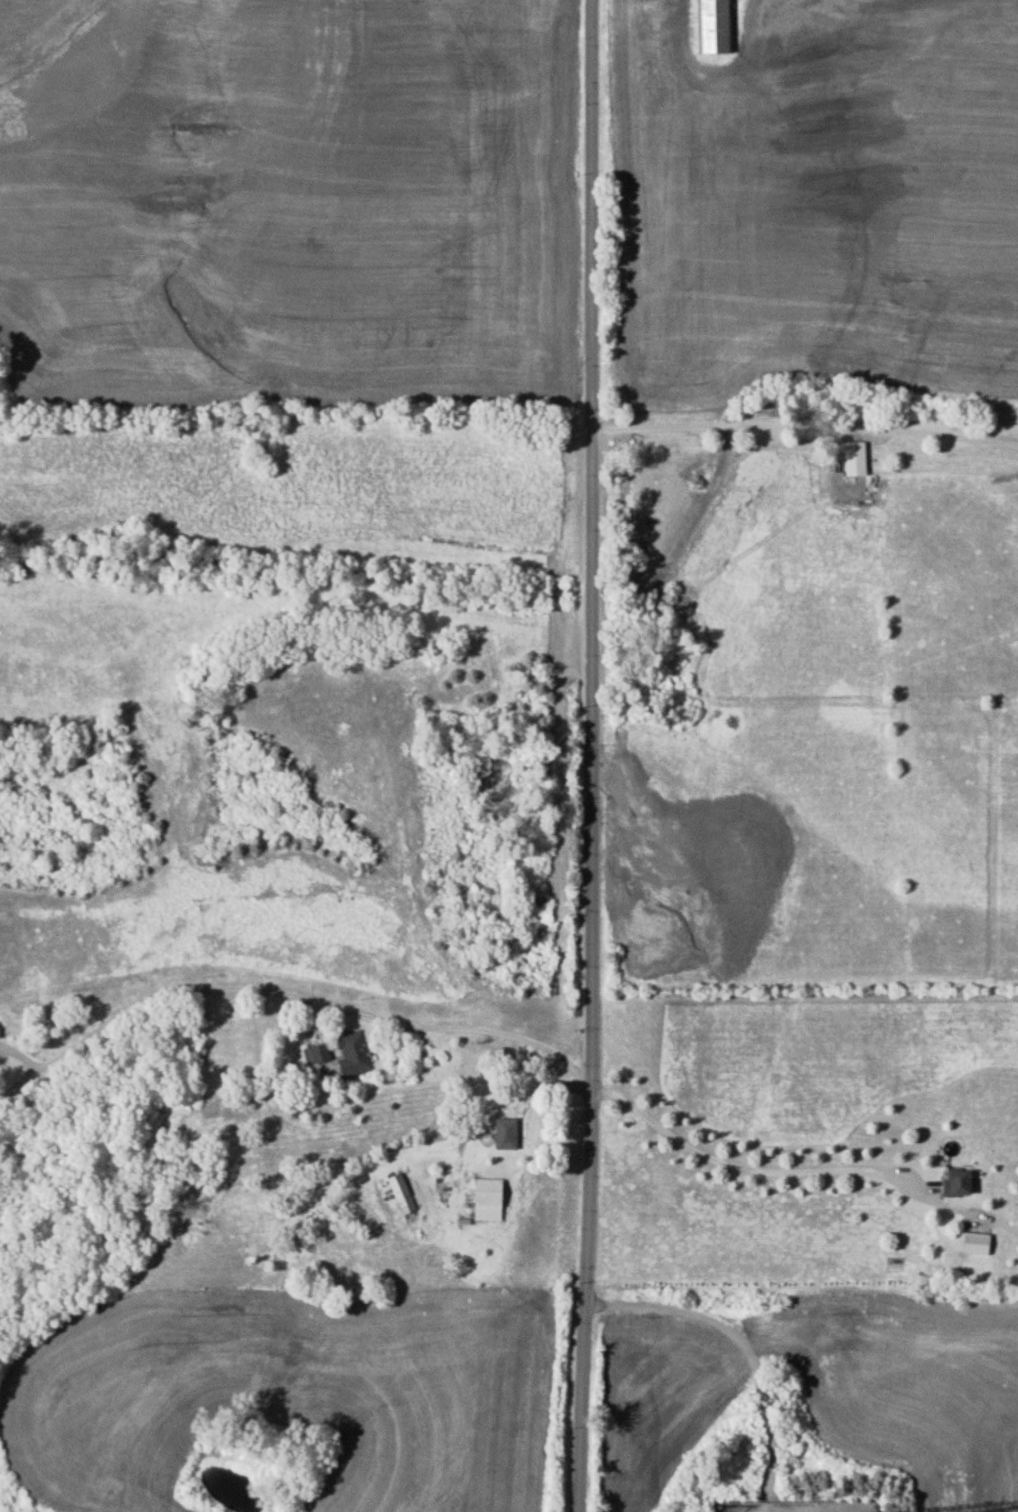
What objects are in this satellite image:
building: (713, 26)
road: (804, 421)
building: (853, 457)
road: (590, 756)
road: (310, 997)
building: (315, 1052)
building: (352, 1053)
building: (504, 1132)
road: (751, 1170)
building: (954, 1181)
building: (400, 1193)
building: (486, 1198)
road: (974, 1213)
building: (974, 1242)
road: (737, 1338)

